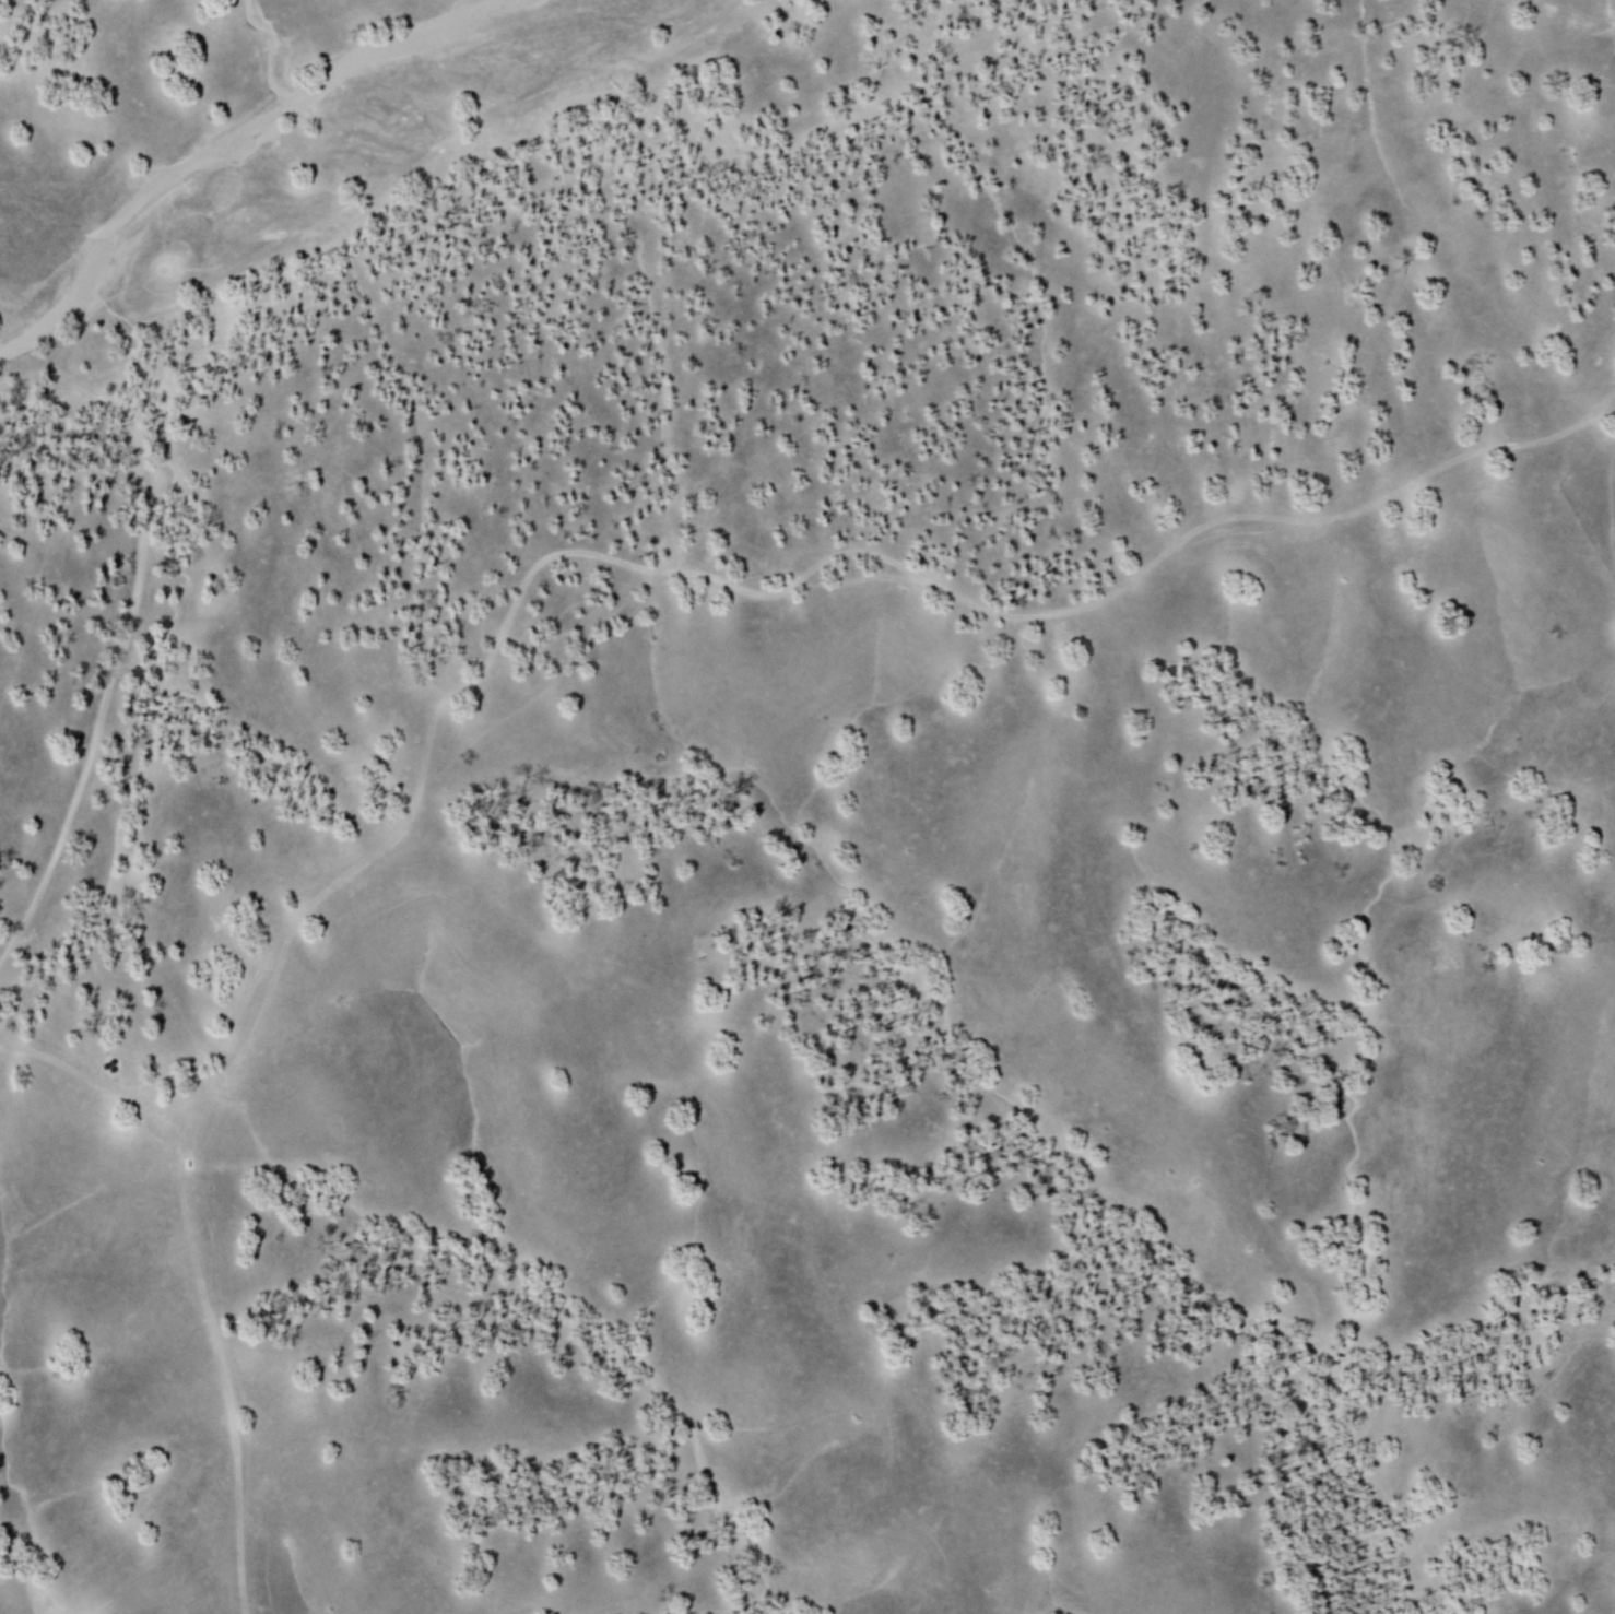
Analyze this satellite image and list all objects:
river: (228, 141)
road: (121, 625)
road: (295, 919)
road: (193, 1277)

